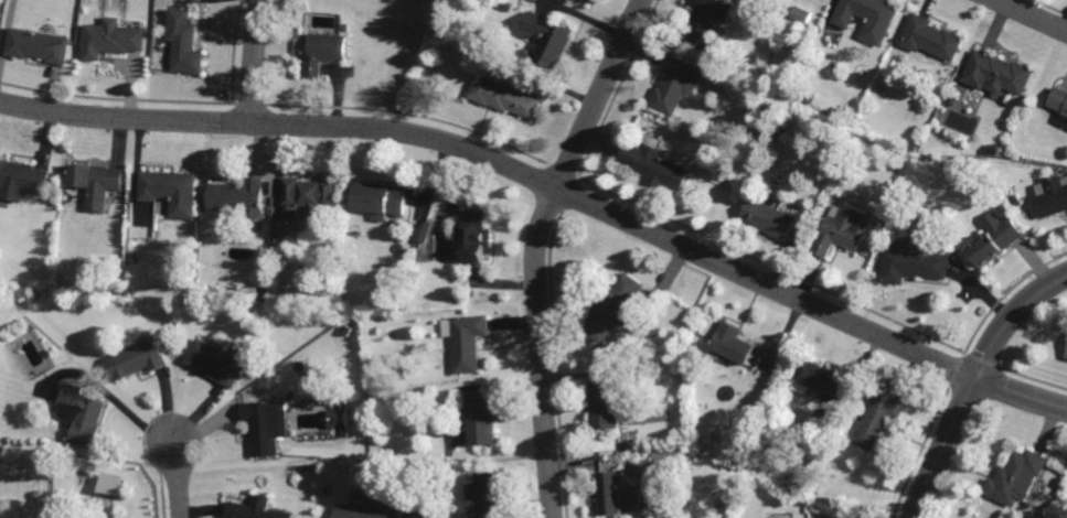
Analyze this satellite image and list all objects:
building: (586, 1)
building: (510, 6)
building: (802, 14)
road: (1033, 14)
building: (868, 18)
building: (706, 21)
building: (346, 28)
building: (801, 33)
building: (931, 37)
building: (111, 39)
building: (549, 39)
building: (184, 42)
building: (38, 45)
building: (305, 51)
building: (323, 53)
road: (253, 61)
building: (997, 74)
building: (676, 84)
building: (764, 94)
building: (503, 97)
building: (1059, 100)
building: (953, 101)
building: (914, 148)
building: (994, 149)
building: (654, 164)
building: (895, 166)
building: (21, 177)
building: (97, 182)
road: (552, 182)
building: (170, 190)
building: (307, 193)
building: (237, 194)
building: (378, 197)
building: (1014, 199)
building: (1052, 199)
building: (770, 216)
building: (212, 223)
building: (842, 229)
building: (473, 234)
building: (994, 239)
road: (534, 248)
building: (911, 259)
building: (116, 289)
building: (262, 292)
building: (198, 303)
building: (612, 306)
building: (255, 322)
building: (373, 330)
building: (468, 341)
building: (735, 342)
building: (1066, 353)
building: (136, 357)
building: (216, 360)
building: (691, 373)
building: (818, 377)
road: (971, 382)
building: (264, 396)
building: (605, 402)
building: (82, 413)
building: (481, 417)
building: (877, 417)
building: (340, 418)
building: (262, 425)
building: (780, 425)
building: (835, 447)
building: (309, 466)
building: (1015, 476)
road: (177, 481)
building: (113, 483)
building: (611, 490)
building: (486, 494)
building: (370, 506)
building: (255, 509)
building: (659, 512)
building: (1015, 514)
building: (647, 515)

